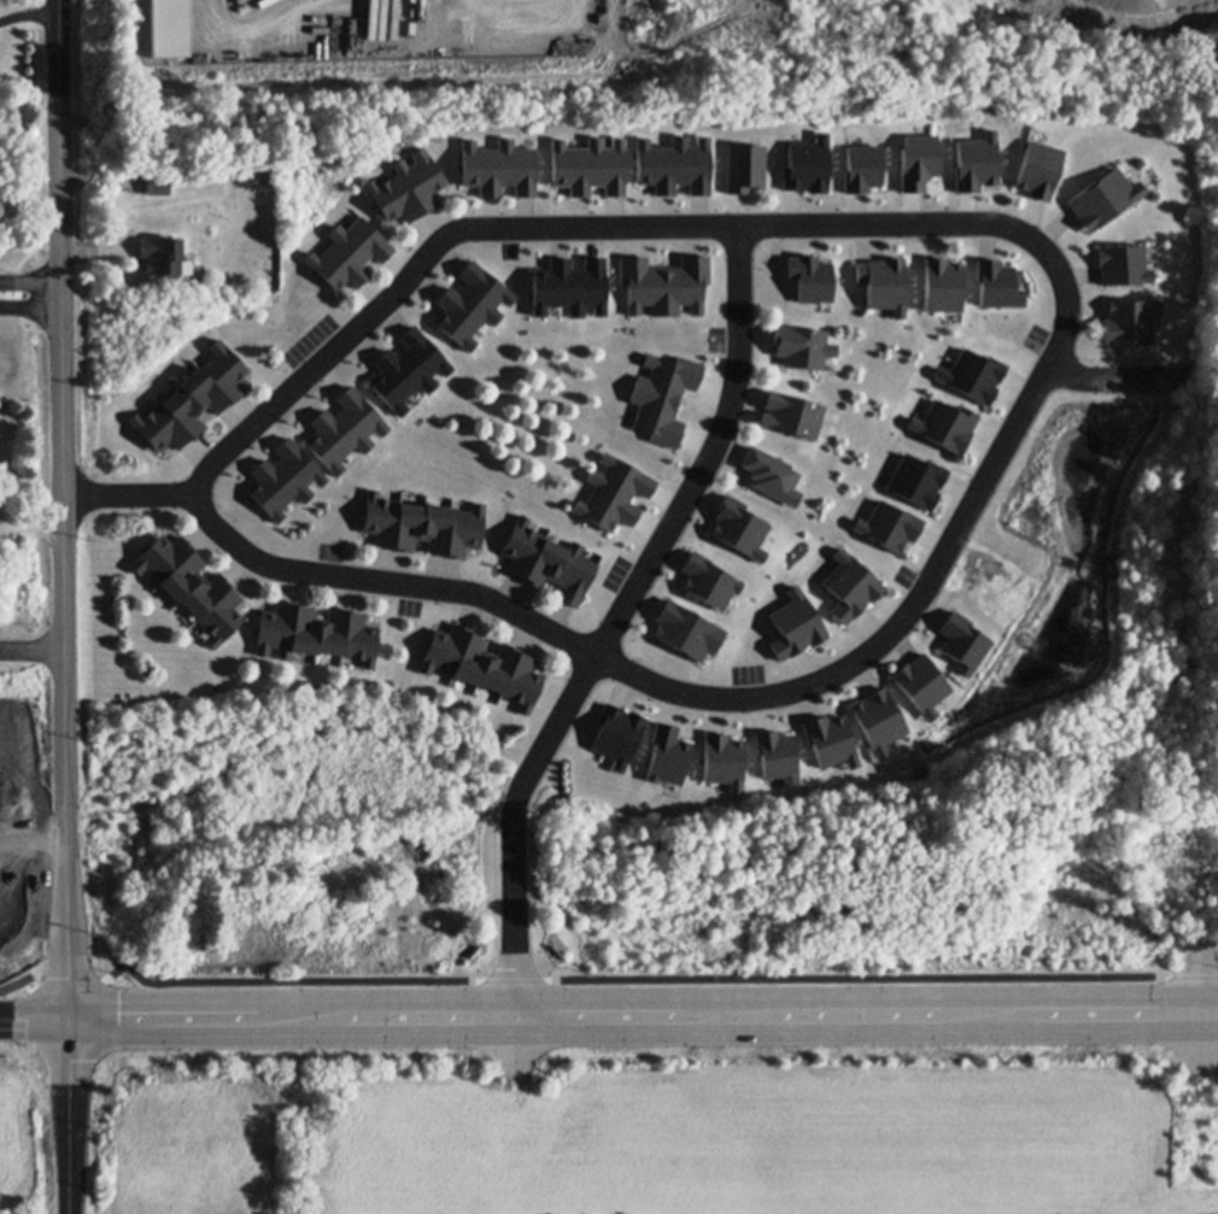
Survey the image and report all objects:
road: (1137, 0)
road: (29, 12)
building: (174, 30)
quarry: (640, 60)
building: (755, 140)
building: (820, 140)
building: (701, 142)
building: (918, 162)
building: (605, 165)
building: (654, 166)
building: (689, 166)
building: (806, 166)
building: (569, 168)
building: (745, 168)
building: (862, 168)
building: (481, 169)
building: (516, 169)
building: (1038, 169)
building: (264, 175)
building: (423, 178)
building: (153, 186)
building: (176, 187)
building: (1128, 187)
building: (394, 197)
building: (1093, 198)
road: (570, 230)
building: (362, 240)
building: (162, 253)
building: (339, 264)
building: (1123, 265)
building: (808, 277)
road: (30, 280)
building: (882, 282)
building: (994, 283)
building: (942, 285)
building: (581, 287)
building: (546, 288)
building: (481, 291)
building: (1017, 300)
road: (30, 307)
building: (595, 310)
building: (1155, 311)
building: (897, 312)
building: (456, 316)
building: (1128, 324)
building: (801, 341)
building: (424, 356)
building: (223, 368)
building: (943, 374)
building: (976, 375)
building: (397, 379)
road: (1119, 382)
building: (201, 387)
building: (183, 406)
building: (362, 412)
building: (787, 414)
building: (160, 424)
building: (915, 424)
building: (948, 426)
building: (334, 435)
building: (816, 435)
building: (605, 458)
building: (297, 469)
building: (769, 475)
building: (915, 479)
building: (621, 480)
building: (273, 489)
road: (133, 495)
building: (792, 497)
building: (605, 509)
building: (381, 518)
building: (408, 526)
building: (737, 526)
building: (857, 526)
building: (435, 527)
building: (889, 527)
building: (463, 530)
building: (533, 552)
building: (756, 555)
building: (163, 556)
building: (574, 573)
building: (182, 575)
building: (704, 579)
building: (851, 585)
building: (794, 592)
building: (204, 593)
road: (65, 606)
building: (221, 616)
building: (794, 627)
building: (276, 628)
building: (304, 629)
building: (332, 631)
building: (686, 631)
building: (358, 639)
building: (966, 640)
road: (602, 646)
road: (33, 647)
building: (444, 647)
building: (470, 658)
building: (497, 667)
building: (522, 681)
building: (924, 684)
road: (742, 702)
building: (876, 719)
building: (615, 731)
building: (827, 740)
building: (879, 751)
building: (667, 753)
building: (774, 753)
building: (721, 756)
building: (619, 763)
building: (851, 763)
building: (733, 784)
building: (23, 822)
road: (598, 980)
road: (1210, 1010)
road: (1210, 1011)
road: (1202, 1014)
road: (601, 1016)
crop: (654, 1128)
crop: (27, 1130)

